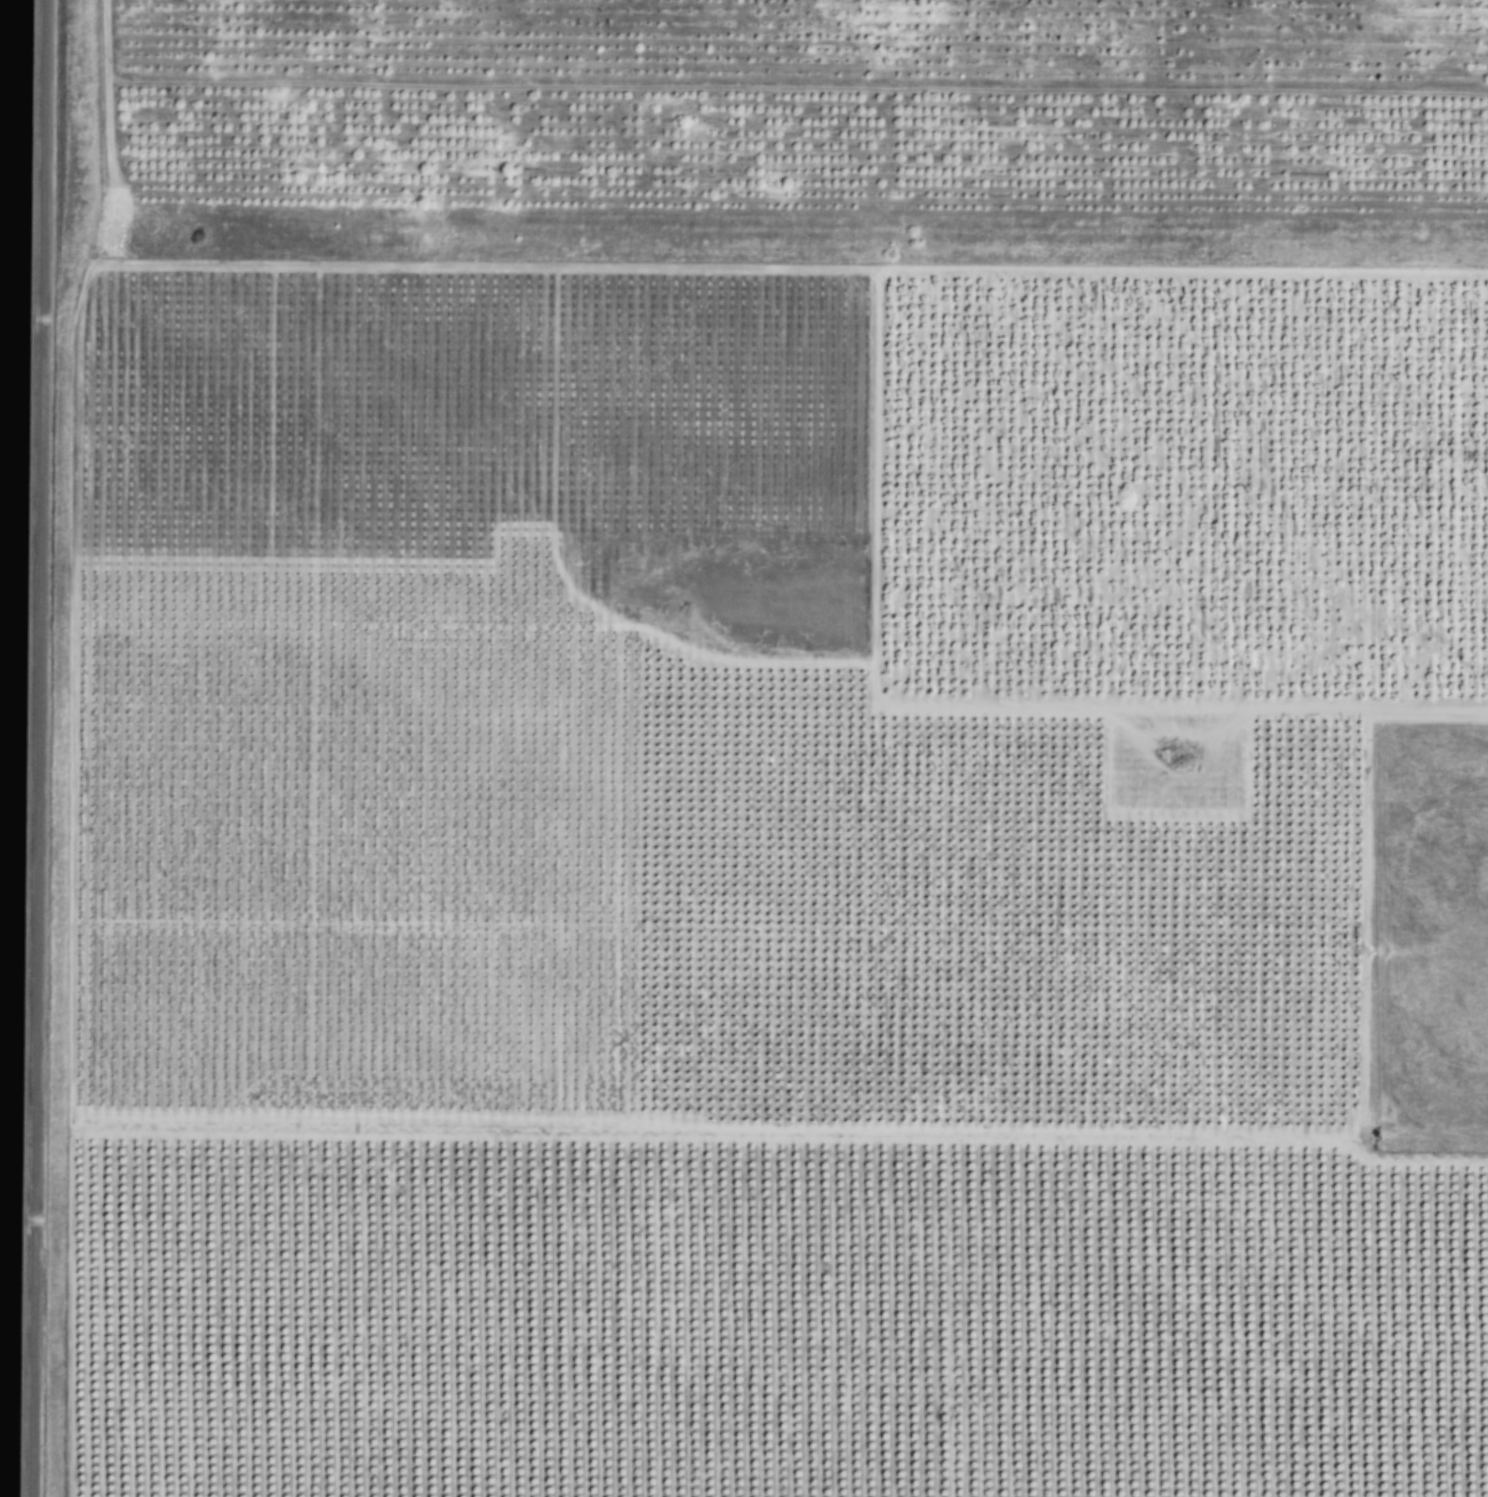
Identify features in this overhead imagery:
road: (805, 255)
road: (1179, 706)

